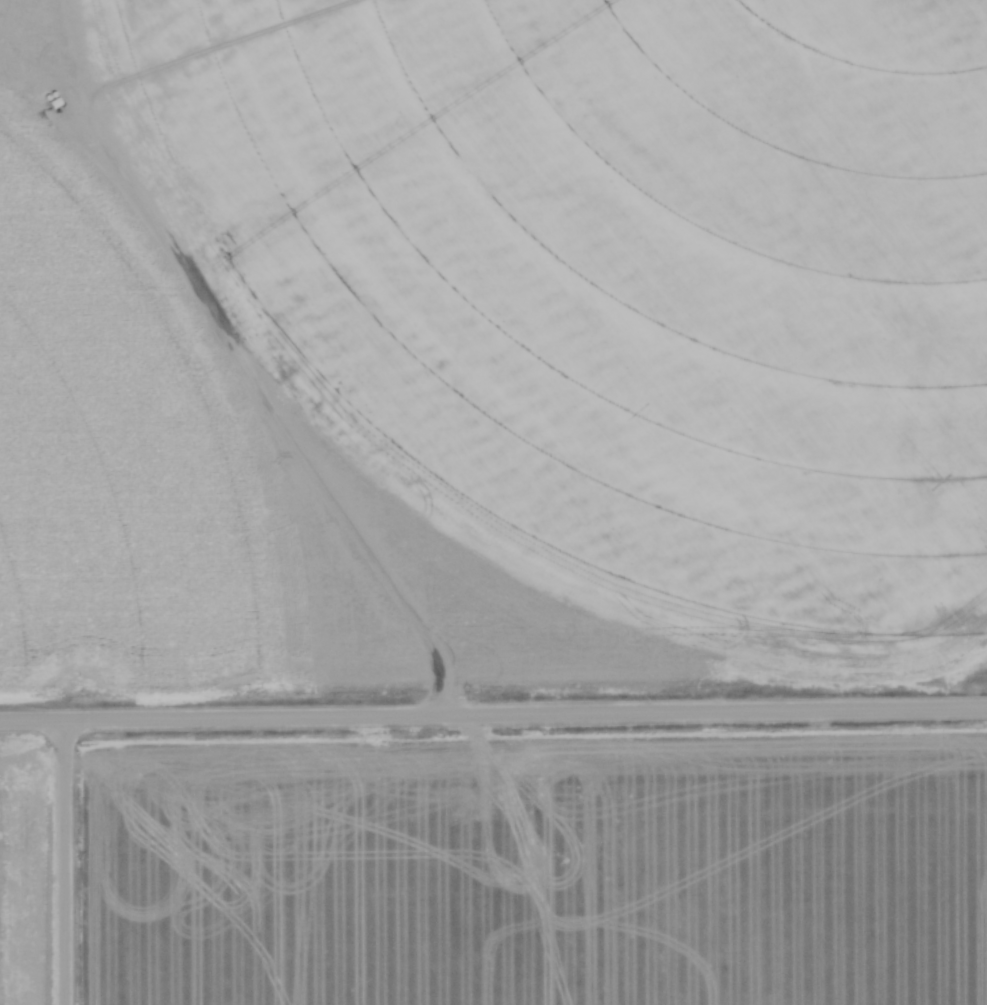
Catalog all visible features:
road: (493, 719)
road: (66, 863)

